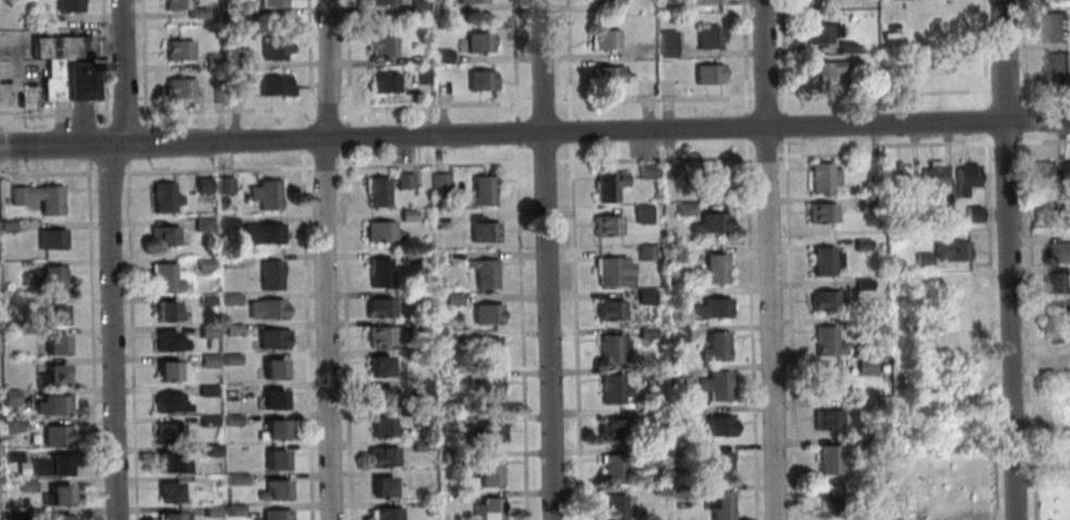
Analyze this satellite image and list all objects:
building: (469, 1)
building: (605, 1)
building: (271, 2)
building: (380, 2)
building: (174, 4)
building: (69, 5)
building: (416, 5)
building: (438, 8)
building: (195, 13)
building: (1053, 27)
building: (814, 34)
building: (706, 37)
building: (601, 39)
building: (477, 42)
building: (664, 44)
building: (381, 45)
building: (273, 47)
building: (844, 48)
building: (176, 50)
road: (1022, 52)
road: (983, 53)
building: (439, 55)
road: (781, 55)
road: (742, 57)
building: (236, 59)
road: (565, 59)
road: (513, 60)
road: (102, 62)
building: (211, 62)
road: (346, 62)
road: (140, 63)
road: (307, 63)
building: (65, 65)
building: (1054, 66)
building: (820, 70)
road: (122, 71)
building: (706, 74)
building: (606, 75)
building: (422, 76)
building: (478, 79)
building: (236, 83)
building: (383, 83)
building: (871, 83)
building: (272, 85)
building: (671, 86)
building: (176, 87)
road: (1043, 89)
road: (1003, 91)
road: (881, 94)
building: (216, 95)
road: (762, 97)
road: (651, 99)
road: (540, 102)
road: (433, 104)
road: (326, 108)
road: (224, 110)
road: (122, 113)
road: (54, 114)
road: (1023, 120)
road: (984, 121)
road: (80, 124)
road: (783, 124)
road: (744, 126)
road: (568, 131)
road: (596, 132)
road: (515, 133)
road: (871, 135)
road: (343, 136)
road: (304, 137)
road: (1042, 140)
road: (95, 141)
road: (1004, 143)
road: (115, 144)
road: (136, 144)
road: (931, 144)
road: (53, 145)
road: (872, 149)
road: (872, 153)
road: (824, 154)
road: (764, 156)
road: (652, 158)
road: (543, 161)
road: (432, 164)
building: (870, 164)
road: (323, 168)
road: (215, 169)
building: (646, 170)
building: (665, 170)
road: (108, 173)
road: (47, 174)
building: (930, 174)
building: (1066, 174)
building: (1043, 175)
building: (896, 176)
building: (820, 177)
building: (963, 178)
building: (403, 181)
building: (438, 182)
building: (200, 185)
building: (223, 185)
building: (708, 185)
building: (606, 186)
building: (481, 190)
building: (374, 191)
building: (263, 194)
building: (162, 197)
building: (35, 198)
building: (867, 203)
building: (640, 209)
building: (683, 209)
building: (819, 213)
building: (911, 213)
building: (972, 213)
building: (1040, 213)
building: (941, 214)
building: (406, 215)
building: (436, 215)
building: (710, 222)
building: (201, 223)
building: (227, 223)
building: (605, 225)
building: (4, 226)
road: (1025, 227)
building: (378, 232)
building: (482, 232)
building: (260, 233)
building: (160, 235)
building: (47, 238)
building: (859, 244)
building: (947, 250)
building: (1057, 251)
building: (643, 252)
building: (406, 257)
road: (323, 259)
road: (768, 259)
road: (1008, 259)
road: (545, 260)
building: (920, 260)
building: (823, 261)
building: (226, 262)
building: (202, 267)
building: (713, 269)
building: (610, 271)
building: (377, 272)
building: (482, 273)
building: (267, 275)
building: (162, 278)
building: (50, 280)
building: (1058, 283)
building: (861, 284)
building: (674, 294)
building: (644, 297)
building: (204, 299)
building: (228, 299)
building: (449, 299)
building: (823, 301)
building: (376, 307)
building: (263, 309)
building: (708, 309)
building: (607, 310)
building: (164, 311)
building: (484, 313)
building: (1059, 313)
building: (51, 314)
building: (419, 325)
road: (990, 325)
road: (787, 327)
building: (229, 330)
road: (748, 330)
road: (573, 331)
road: (110, 332)
building: (206, 332)
road: (519, 332)
building: (644, 333)
road: (303, 334)
road: (344, 334)
building: (675, 334)
building: (382, 337)
road: (89, 338)
building: (270, 338)
building: (441, 338)
road: (129, 339)
building: (824, 341)
building: (166, 342)
building: (52, 345)
building: (712, 347)
building: (609, 348)
building: (481, 351)
building: (228, 359)
building: (207, 360)
building: (376, 366)
building: (862, 366)
building: (269, 369)
building: (169, 371)
building: (676, 372)
building: (646, 373)
building: (48, 376)
building: (445, 377)
building: (824, 382)
road: (1029, 384)
building: (713, 385)
building: (419, 387)
building: (610, 389)
building: (204, 391)
building: (484, 391)
building: (381, 397)
building: (8, 398)
building: (271, 398)
building: (165, 403)
building: (50, 406)
building: (675, 411)
building: (647, 413)
building: (419, 419)
building: (824, 419)
building: (229, 420)
building: (446, 421)
building: (9, 425)
building: (377, 426)
building: (716, 426)
building: (611, 429)
building: (271, 430)
building: (163, 432)
building: (54, 434)
building: (482, 434)
building: (874, 444)
building: (419, 446)
building: (209, 450)
building: (9, 457)
building: (381, 457)
building: (448, 457)
building: (648, 457)
building: (825, 459)
building: (272, 460)
building: (169, 462)
building: (46, 466)
building: (717, 466)
building: (18, 468)
building: (612, 469)
building: (485, 472)
building: (234, 479)
road: (1031, 482)
building: (23, 485)
building: (380, 487)
building: (271, 491)
building: (677, 491)
building: (166, 493)
building: (53, 496)
building: (825, 499)
building: (717, 505)
building: (610, 507)
building: (486, 509)
building: (209, 510)
building: (233, 510)
building: (384, 513)
building: (273, 515)
building: (10, 516)
building: (167, 517)
building: (55, 518)
building: (878, 519)

